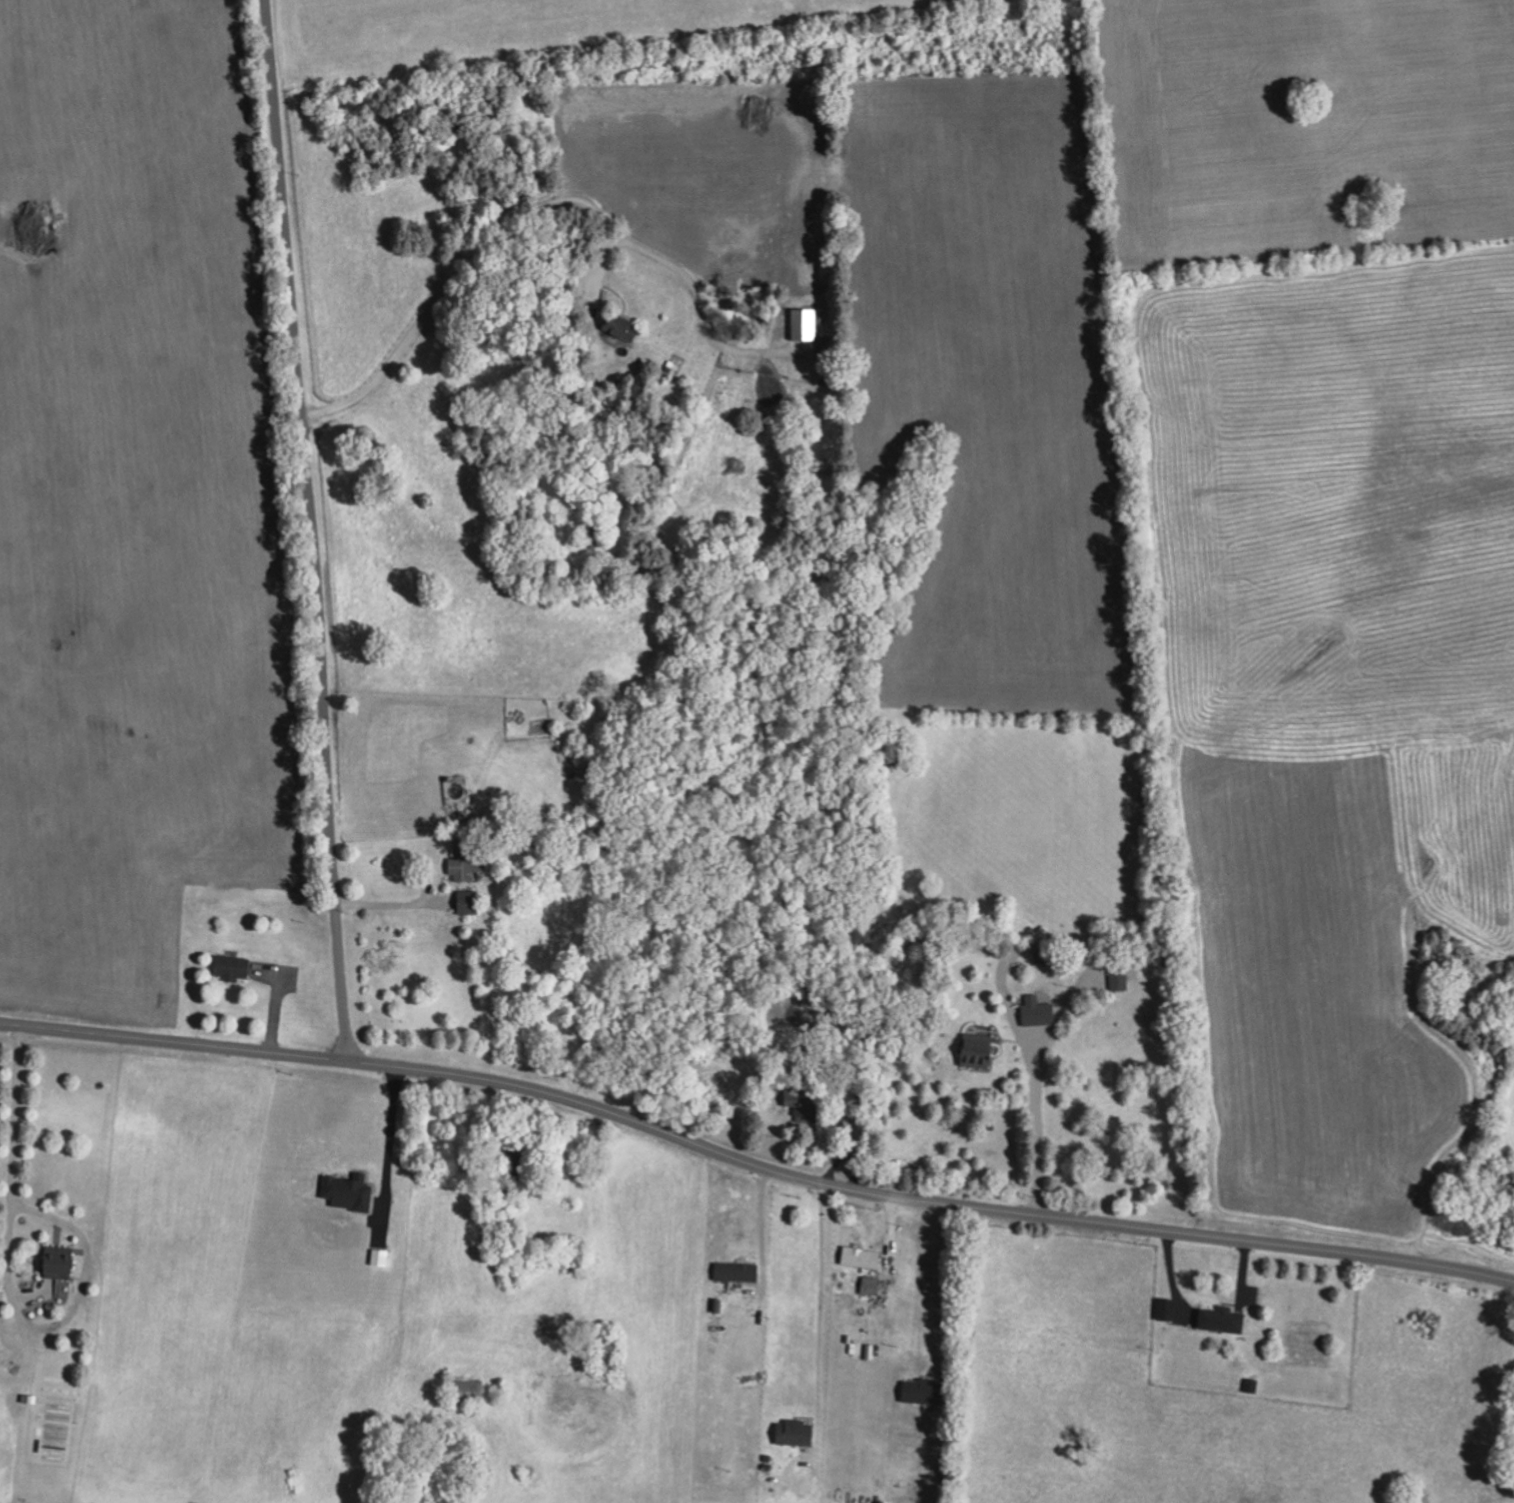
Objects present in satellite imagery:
road: (570, 30)
road: (468, 257)
building: (805, 324)
building: (623, 327)
road: (315, 530)
building: (467, 862)
building: (469, 903)
road: (390, 905)
building: (232, 968)
building: (1119, 978)
building: (1037, 1012)
building: (977, 1051)
road: (1035, 1081)
building: (804, 1105)
building: (844, 1125)
road: (390, 1131)
road: (755, 1160)
building: (348, 1192)
road: (758, 1227)
building: (380, 1258)
building: (861, 1258)
building: (59, 1263)
building: (737, 1273)
road: (11, 1284)
building: (870, 1286)
road: (939, 1288)
building: (1166, 1310)
road: (819, 1320)
building: (1222, 1320)
building: (467, 1392)
building: (923, 1392)
building: (794, 1433)

